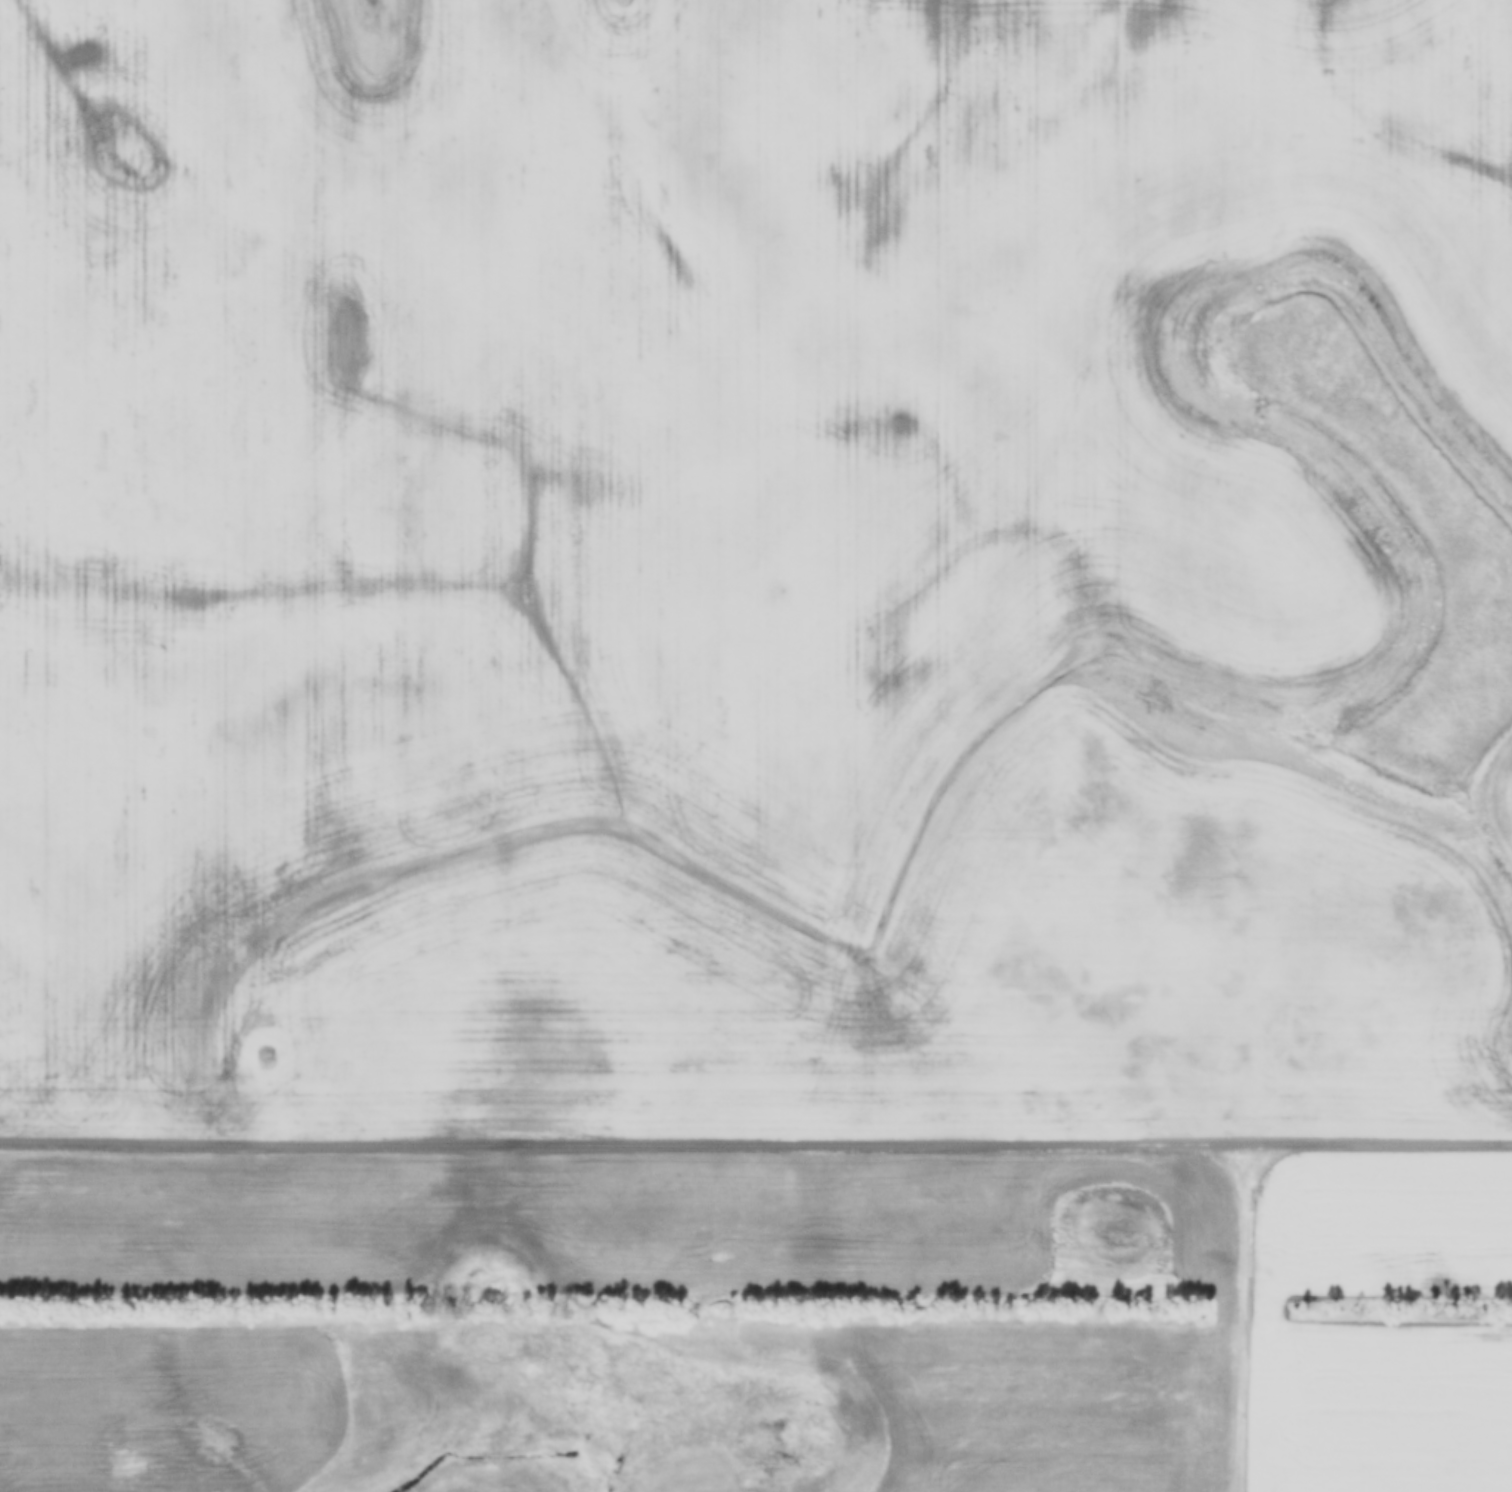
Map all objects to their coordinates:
road: (756, 1141)
road: (1245, 1317)

